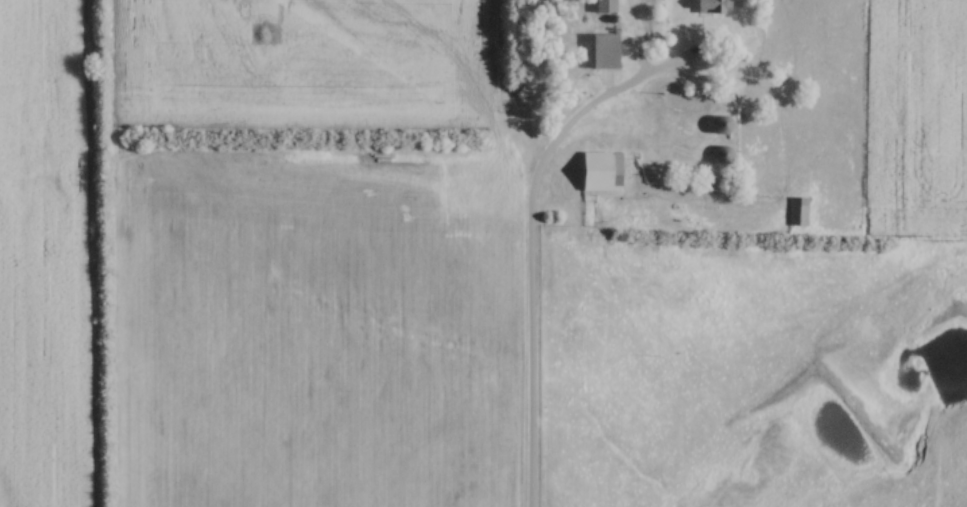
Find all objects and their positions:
building: (609, 6)
building: (718, 7)
building: (608, 51)
building: (733, 125)
building: (605, 172)
building: (801, 211)
road: (530, 246)

